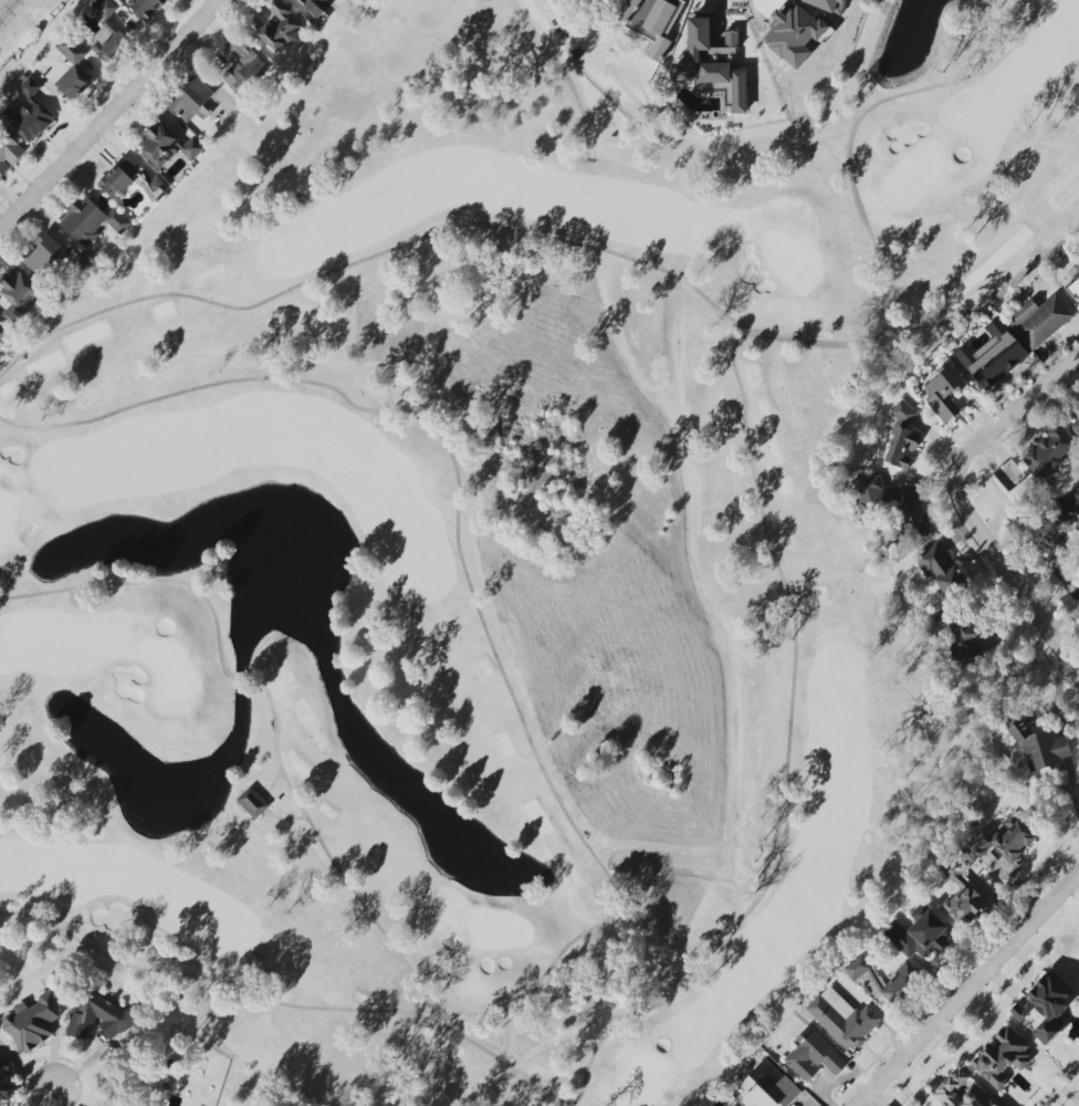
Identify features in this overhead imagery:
building: (829, 4)
building: (145, 7)
building: (315, 7)
building: (648, 20)
building: (280, 27)
building: (107, 30)
building: (796, 34)
building: (71, 49)
road: (868, 51)
building: (243, 66)
building: (714, 66)
road: (966, 70)
building: (72, 84)
building: (29, 87)
building: (192, 100)
road: (856, 111)
road: (111, 114)
building: (29, 118)
road: (860, 125)
building: (167, 146)
building: (8, 153)
building: (119, 177)
building: (91, 221)
road: (877, 244)
building: (55, 259)
building: (1075, 281)
building: (19, 295)
road: (926, 321)
building: (1043, 321)
building: (2, 331)
building: (993, 355)
building: (944, 392)
building: (903, 413)
building: (1076, 425)
building: (902, 448)
building: (1049, 450)
building: (1009, 473)
building: (893, 504)
road: (962, 507)
park: (495, 551)
building: (940, 568)
road: (148, 578)
building: (963, 638)
road: (799, 648)
road: (505, 668)
road: (249, 680)
road: (272, 731)
building: (1038, 750)
road: (273, 782)
road: (294, 793)
building: (258, 802)
road: (287, 818)
building: (1002, 842)
building: (963, 895)
building: (920, 932)
building: (903, 977)
road: (967, 990)
building: (1045, 1009)
building: (841, 1019)
building: (34, 1022)
building: (813, 1055)
building: (1001, 1057)
building: (4, 1078)
building: (768, 1088)
building: (962, 1092)
road: (50, 1097)

